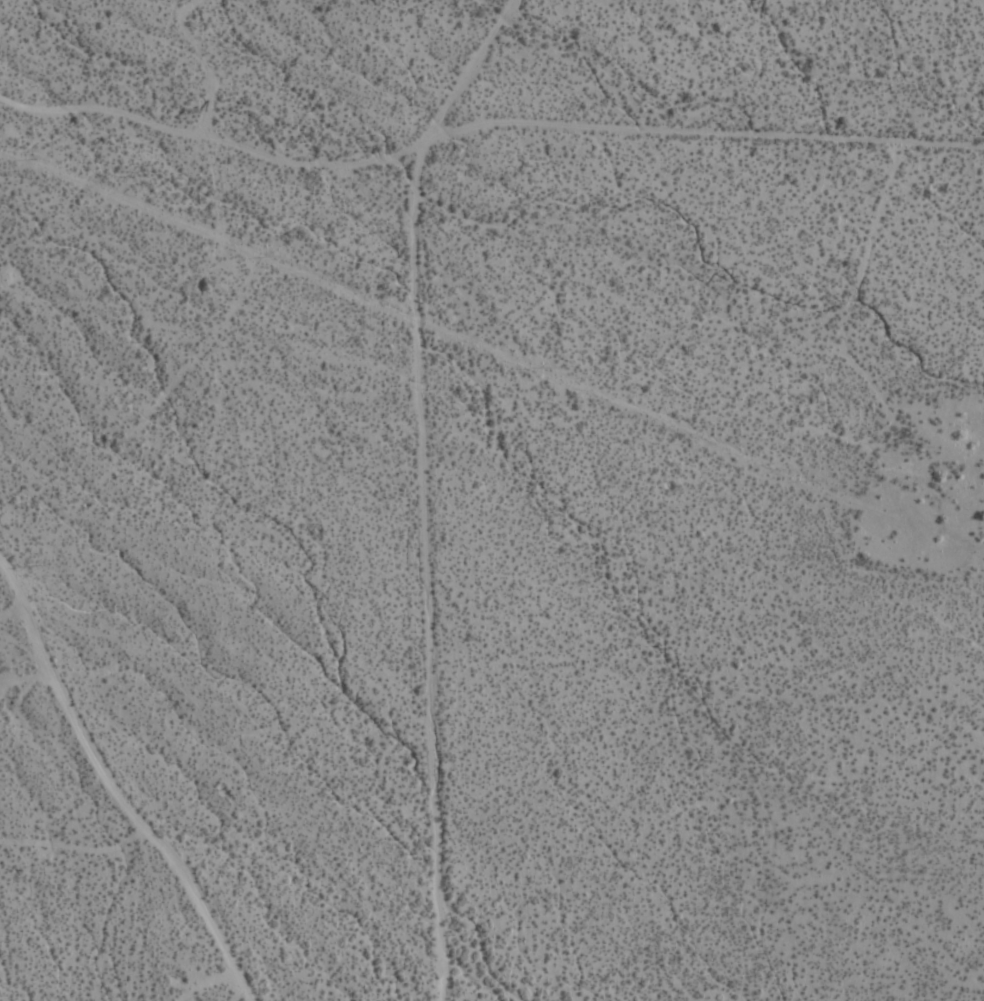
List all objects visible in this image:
road: (490, 131)
road: (682, 469)
road: (434, 495)
road: (10, 617)
road: (106, 793)

